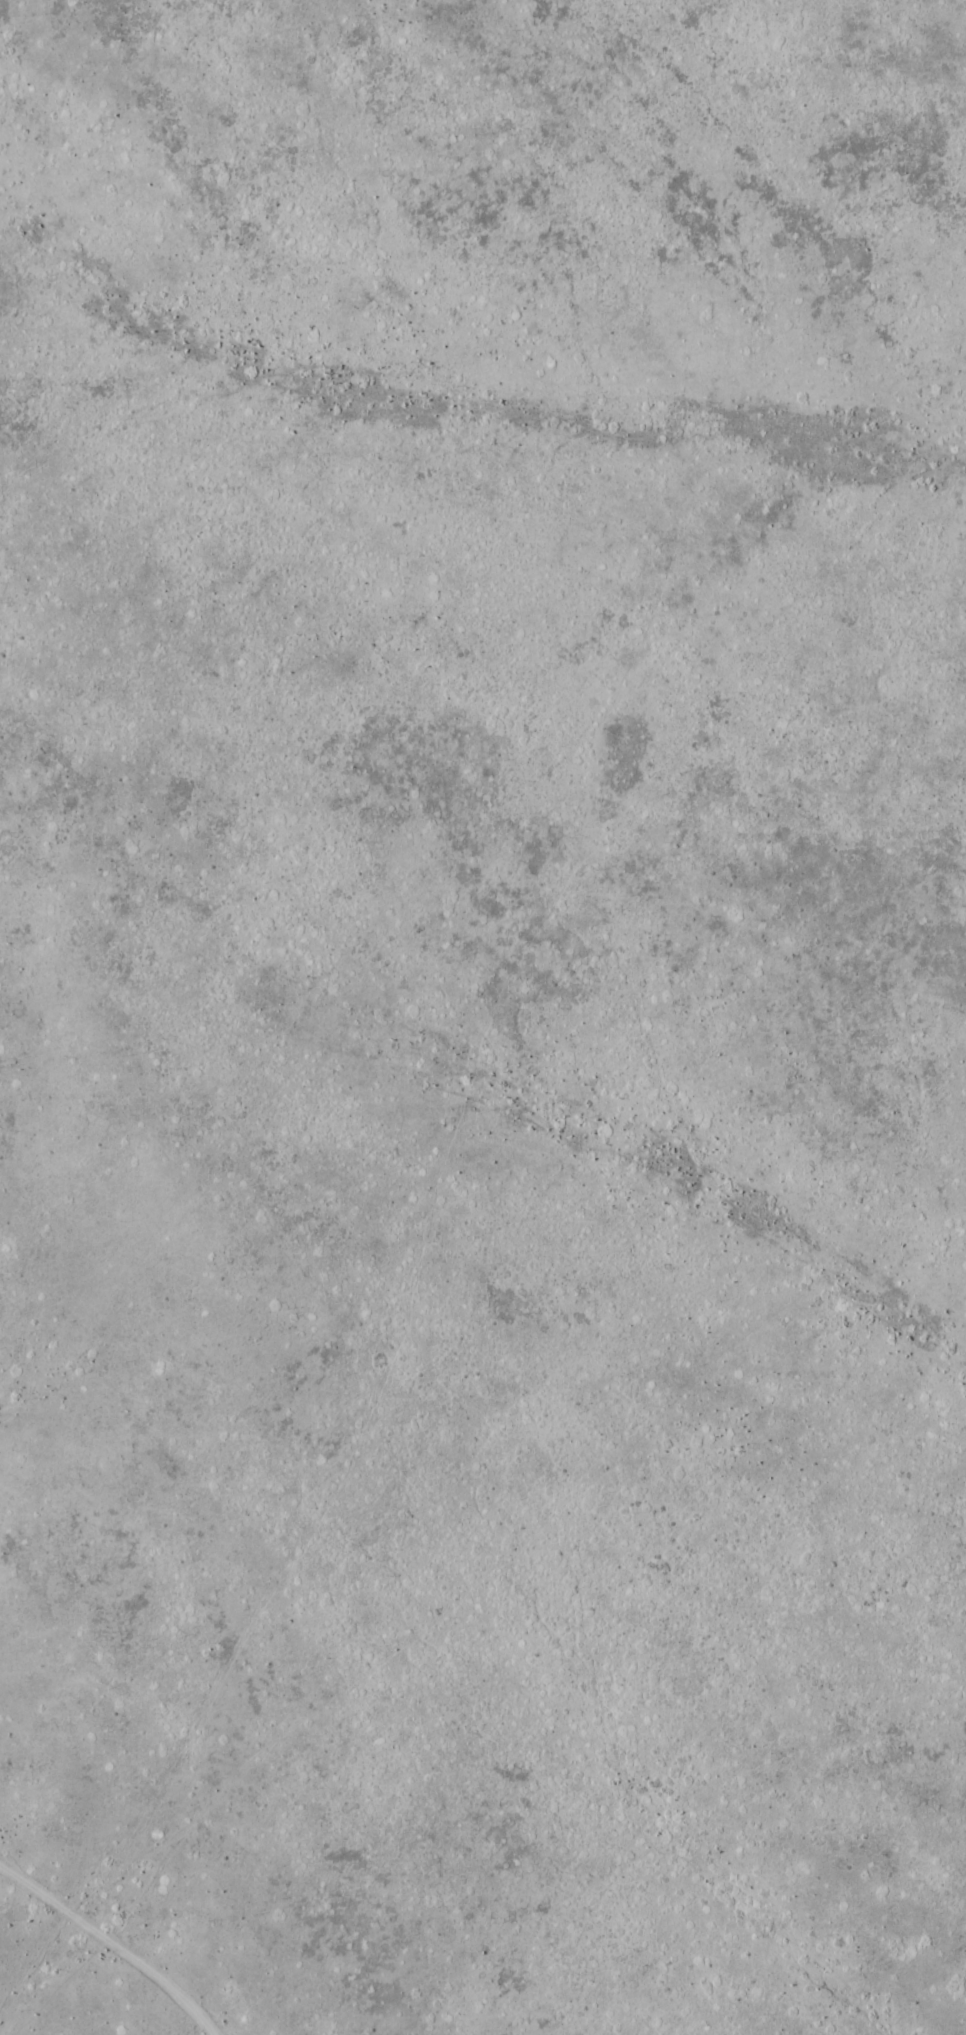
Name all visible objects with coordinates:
road: (164, 1946)

